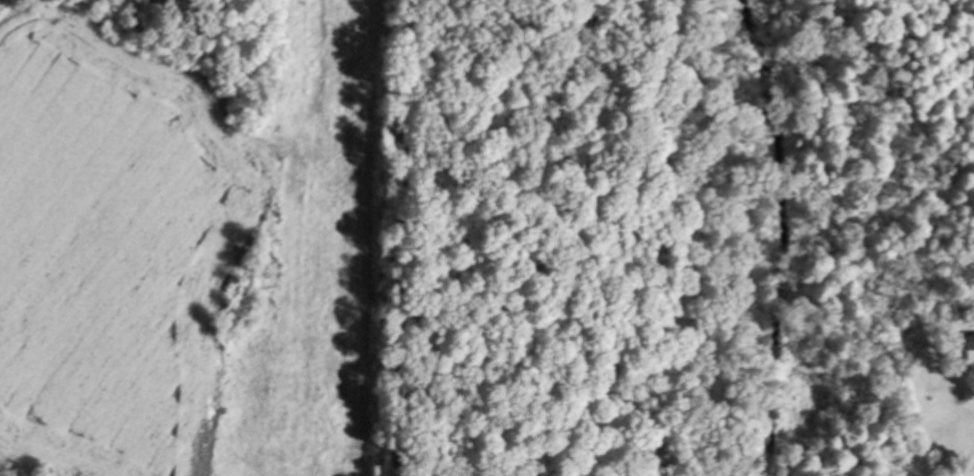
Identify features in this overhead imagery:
road: (404, 238)
building: (962, 340)

